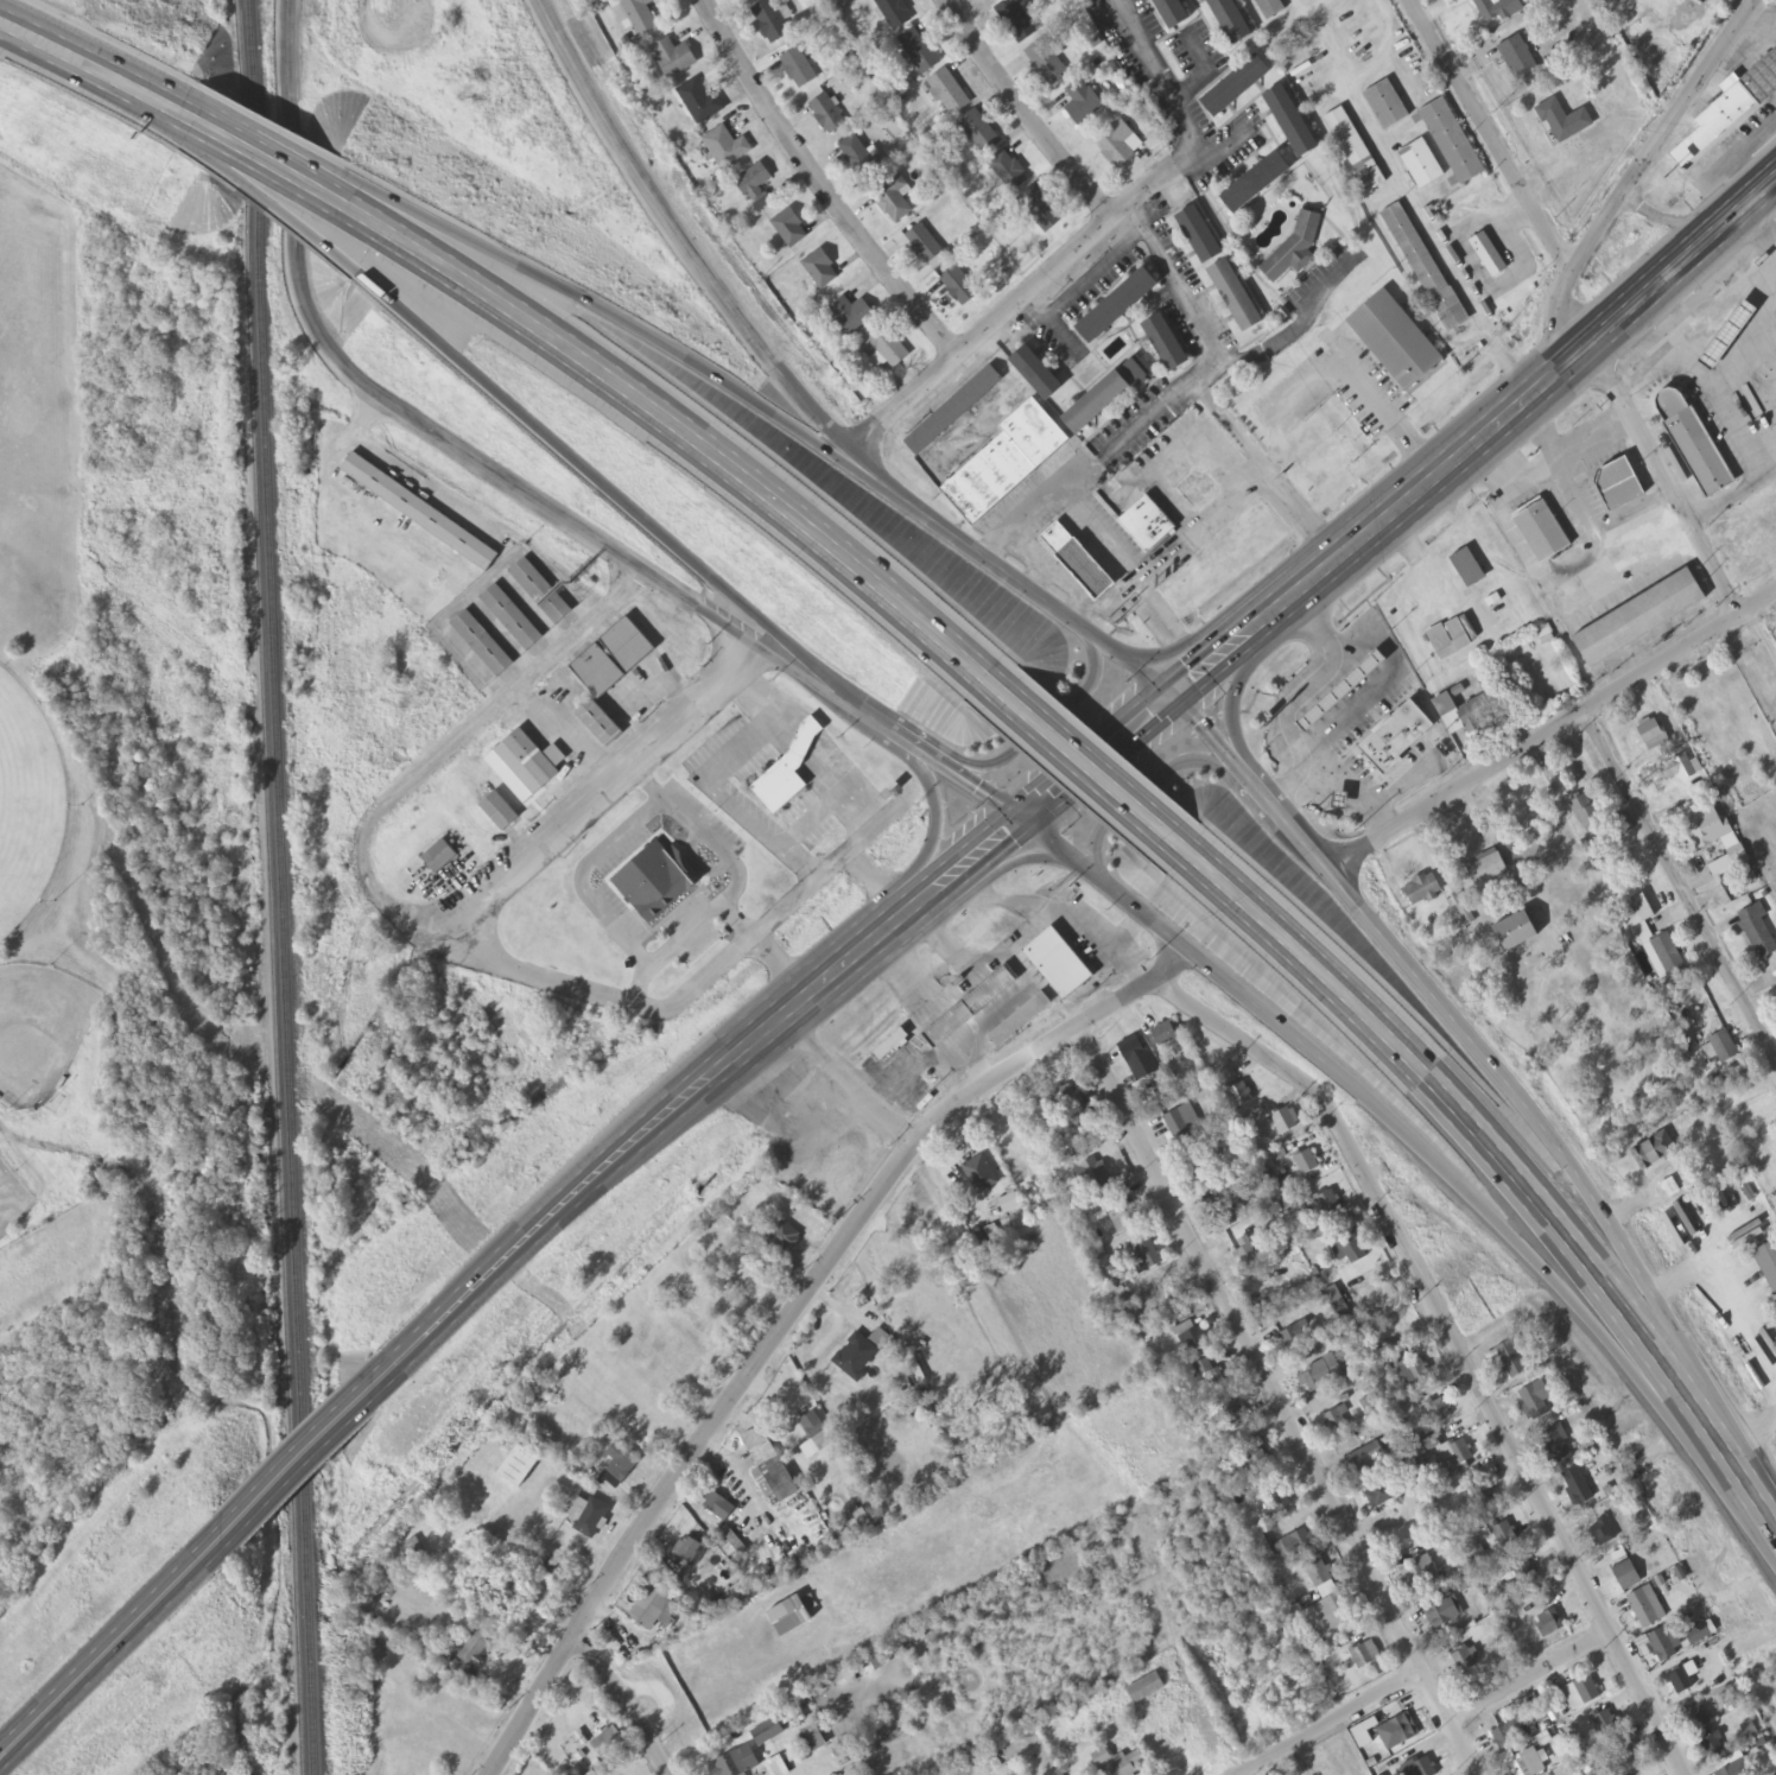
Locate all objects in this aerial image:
building: (743, 0)
building: (988, 0)
building: (1301, 0)
building: (1269, 8)
building: (1497, 9)
building: (894, 13)
building: (1173, 13)
building: (640, 15)
building: (1016, 21)
building: (1231, 21)
building: (772, 23)
road: (32, 31)
building: (1336, 36)
building: (920, 52)
building: (674, 58)
building: (1047, 63)
building: (1521, 63)
building: (799, 69)
road: (132, 71)
building: (1420, 77)
road: (134, 84)
building: (1237, 88)
building: (949, 95)
road: (134, 96)
building: (700, 103)
building: (1083, 103)
building: (1387, 106)
road: (1038, 113)
building: (1729, 114)
building: (829, 116)
building: (1293, 122)
building: (1565, 122)
road: (271, 132)
building: (979, 133)
building: (1451, 141)
building: (1119, 146)
building: (727, 148)
building: (1356, 151)
building: (858, 159)
road: (275, 165)
building: (1422, 165)
road: (1502, 170)
building: (1009, 172)
road: (825, 180)
building: (1257, 184)
building: (756, 188)
road: (1617, 191)
building: (893, 199)
road: (280, 209)
building: (1040, 210)
building: (789, 229)
road: (684, 235)
building: (1200, 236)
building: (922, 242)
building: (1426, 267)
building: (822, 268)
building: (959, 286)
road: (1035, 286)
building: (1237, 297)
building: (1118, 305)
building: (854, 315)
building: (1713, 323)
building: (1167, 342)
building: (1408, 346)
building: (883, 349)
building: (1138, 370)
building: (1038, 373)
building: (1688, 380)
building: (1098, 402)
road: (769, 410)
building: (954, 411)
road: (684, 429)
road: (433, 435)
road: (1472, 443)
building: (1698, 451)
building: (1007, 462)
road: (1668, 476)
building: (1622, 483)
road: (604, 486)
building: (1193, 486)
building: (419, 513)
building: (1147, 524)
building: (1543, 531)
building: (1752, 546)
building: (1076, 558)
building: (1469, 569)
building: (541, 591)
building: (512, 617)
building: (1641, 619)
building: (1448, 640)
building: (482, 644)
building: (628, 645)
road: (1182, 649)
building: (598, 672)
traffic signals: (1168, 696)
building: (1355, 698)
gas station: (1355, 698)
road: (1238, 702)
building: (1349, 704)
building: (1471, 710)
road: (481, 718)
building: (600, 723)
building: (1653, 734)
road: (1554, 735)
building: (1306, 740)
building: (1409, 743)
road: (1091, 755)
road: (933, 757)
building: (532, 759)
road: (1003, 761)
park: (110, 762)
road: (1093, 769)
building: (1679, 769)
road: (1144, 787)
building: (792, 793)
building: (500, 812)
traffic signals: (1014, 814)
road: (570, 819)
building: (1590, 823)
building: (1710, 830)
road: (928, 843)
building: (439, 857)
road: (1004, 858)
building: (1723, 867)
building: (1488, 869)
road: (1066, 880)
road: (1682, 886)
railway: (271, 887)
railway: (281, 887)
building: (1422, 890)
building: (666, 896)
road: (1045, 906)
building: (1638, 918)
building: (1517, 932)
building: (1758, 932)
road: (1124, 933)
road: (1015, 942)
building: (1667, 959)
building: (1058, 963)
building: (969, 1007)
road: (975, 1019)
building: (1019, 1019)
building: (1165, 1035)
building: (889, 1045)
building: (1721, 1050)
road: (1480, 1052)
building: (1137, 1060)
road: (965, 1064)
road: (845, 1080)
road: (700, 1082)
building: (1237, 1090)
building: (1072, 1101)
road: (1387, 1115)
building: (1036, 1116)
building: (1286, 1120)
building: (1184, 1128)
road: (1480, 1135)
building: (1655, 1152)
building: (1307, 1164)
building: (1033, 1165)
building: (1205, 1175)
building: (979, 1177)
building: (1087, 1181)
building: (1324, 1205)
building: (1125, 1219)
building: (1228, 1221)
building: (786, 1238)
building: (1347, 1242)
building: (1144, 1253)
building: (1248, 1255)
building: (1768, 1263)
building: (1169, 1294)
road: (788, 1316)
building: (1190, 1338)
building: (1294, 1338)
road: (1452, 1344)
building: (857, 1358)
building: (1512, 1361)
building: (1414, 1373)
building: (1211, 1376)
building: (1311, 1383)
road: (1274, 1401)
building: (1537, 1402)
building: (1438, 1412)
building: (1235, 1418)
building: (1336, 1422)
building: (813, 1426)
building: (1558, 1445)
road: (315, 1450)
building: (1458, 1452)
building: (1364, 1457)
building: (1255, 1463)
building: (520, 1467)
building: (615, 1469)
building: (769, 1469)
building: (1578, 1488)
building: (1378, 1492)
road: (1750, 1495)
building: (1484, 1496)
building: (1279, 1503)
building: (718, 1507)
building: (588, 1516)
building: (1504, 1534)
building: (1604, 1535)
building: (1298, 1545)
building: (1262, 1548)
building: (690, 1552)
building: (1318, 1572)
building: (1420, 1573)
building: (1526, 1576)
building: (1628, 1576)
building: (652, 1608)
building: (1647, 1608)
building: (1445, 1614)
building: (791, 1617)
building: (1327, 1618)
building: (1549, 1624)
building: (1666, 1644)
road: (114, 1648)
building: (474, 1654)
building: (1365, 1655)
building: (1464, 1661)
building: (1681, 1681)
road: (1528, 1684)
building: (1146, 1690)
building: (1581, 1694)
road: (621, 1701)
building: (1699, 1717)
building: (1606, 1724)
road: (1331, 1726)
building: (1749, 1731)
building: (767, 1732)
building: (1398, 1732)
building: (1504, 1738)
building: (814, 1742)
building: (608, 1743)
building: (1713, 1748)
building: (1628, 1755)
building: (1118, 1763)
building: (735, 1764)
building: (1527, 1764)
building: (1417, 1768)
building: (1727, 1771)

